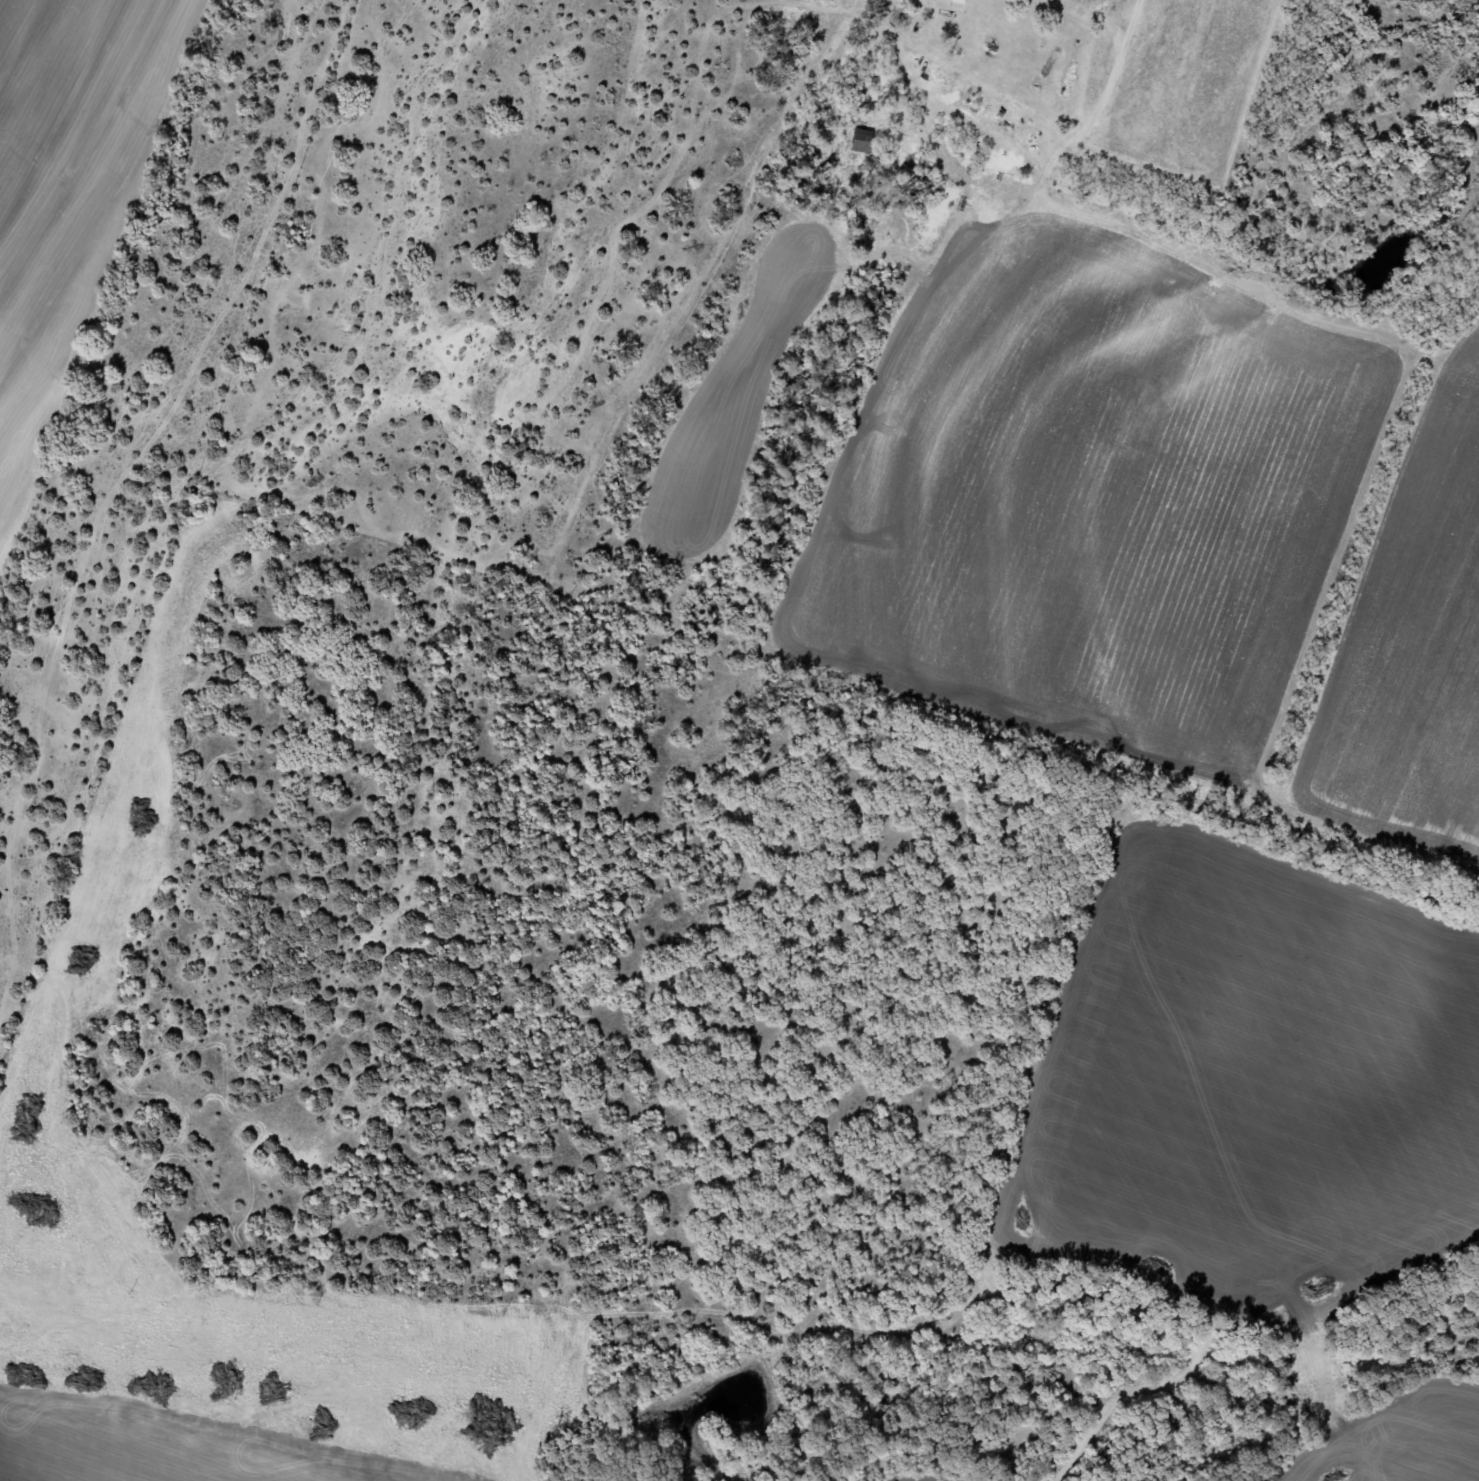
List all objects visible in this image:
road: (872, 1)
building: (959, 1)
building: (862, 141)

